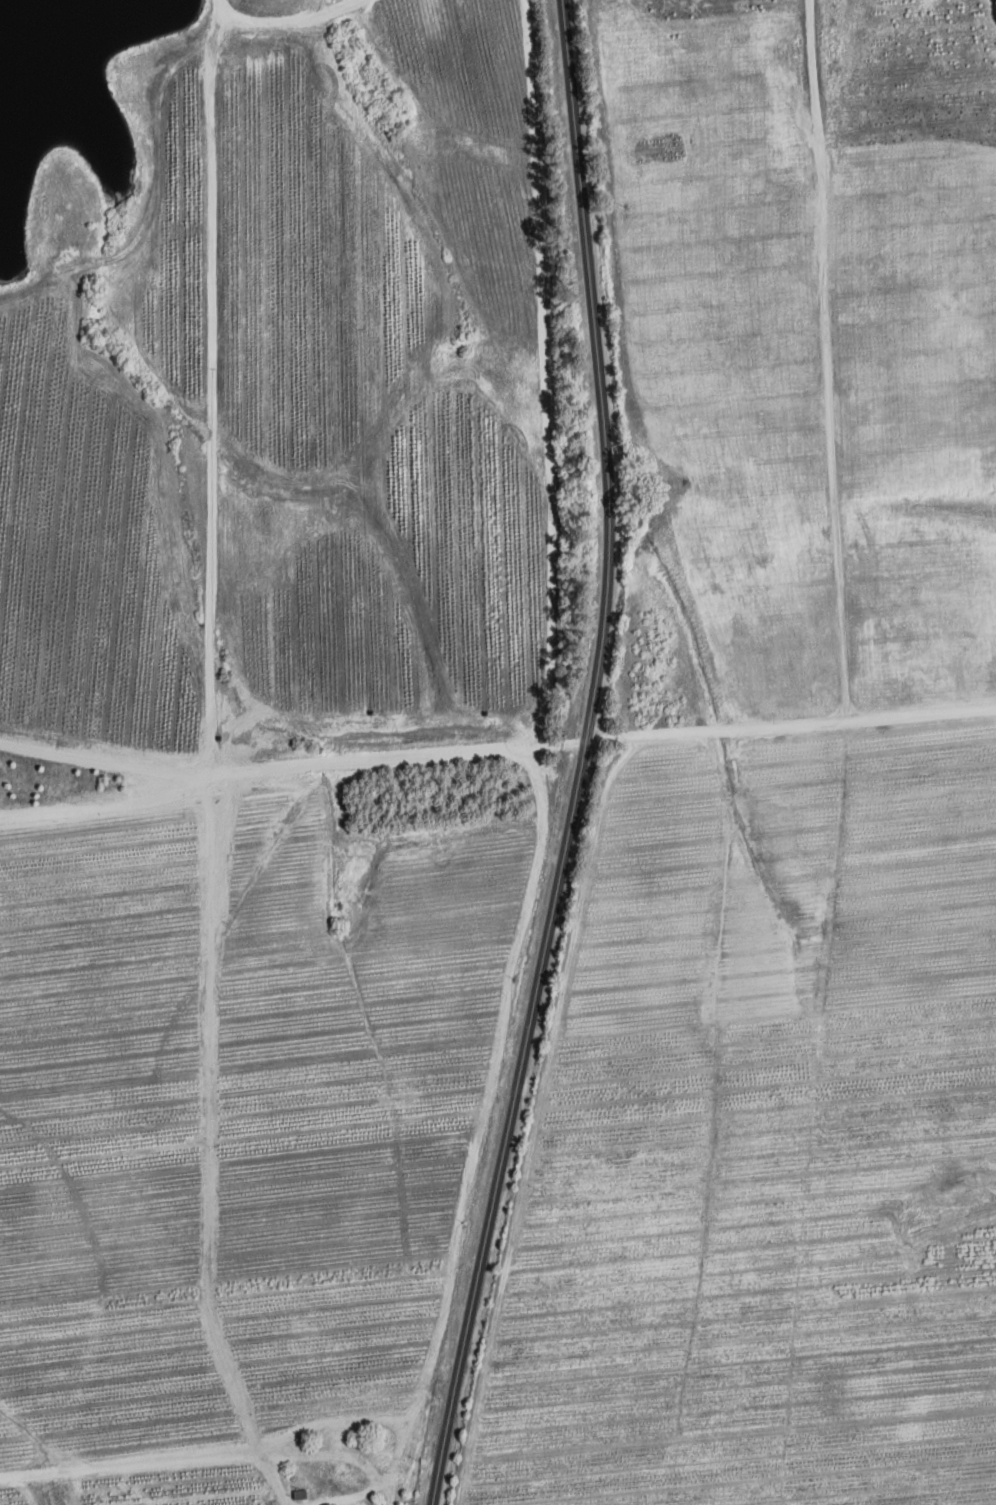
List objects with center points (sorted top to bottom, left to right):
road: (581, 757)
building: (296, 1494)

